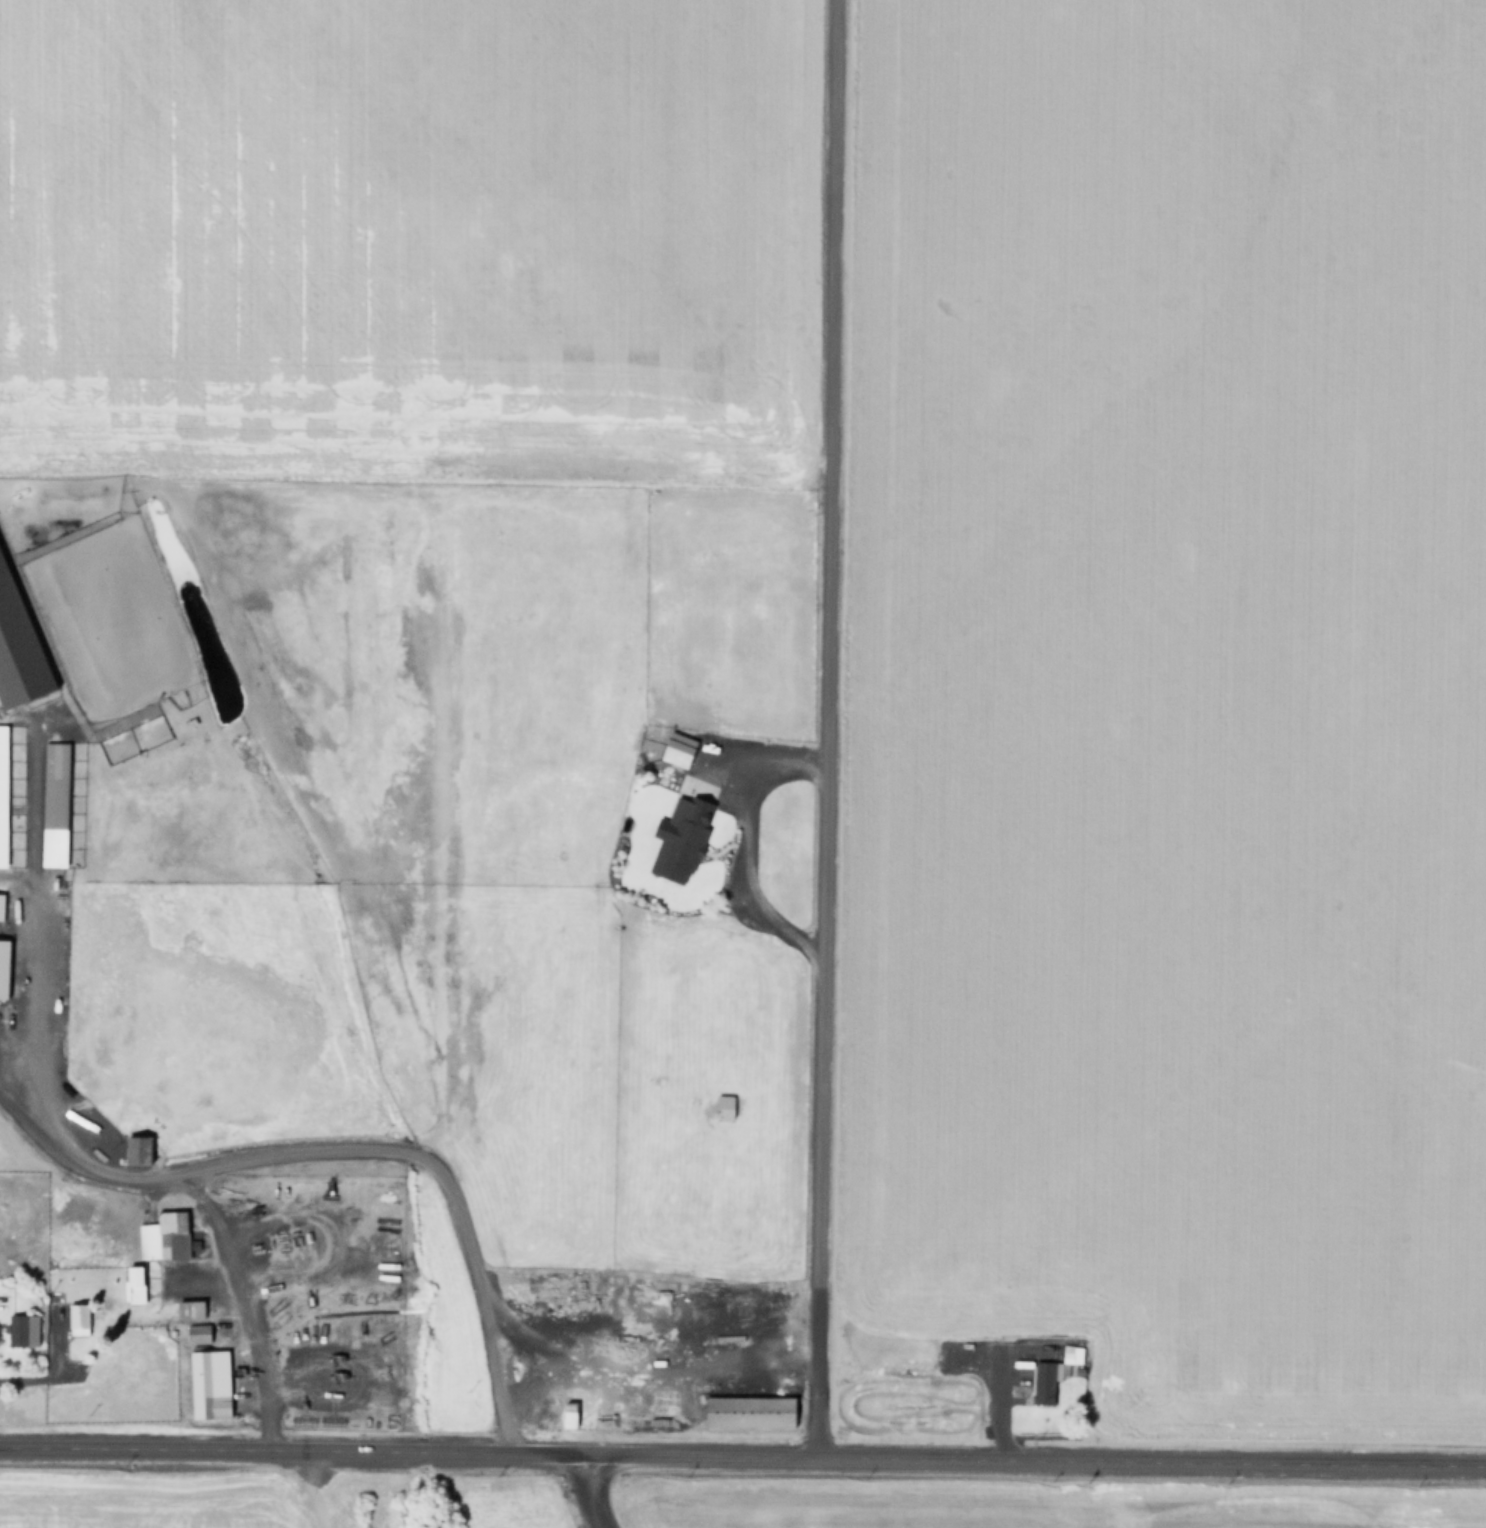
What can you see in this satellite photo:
road: (827, 731)
building: (55, 797)
building: (52, 929)
building: (77, 1072)
building: (138, 1149)
road: (352, 1152)
building: (775, 1224)
building: (7, 1226)
building: (165, 1237)
building: (134, 1285)
building: (191, 1309)
building: (23, 1330)
building: (199, 1339)
building: (1073, 1354)
building: (1042, 1357)
building: (211, 1384)
building: (750, 1411)
road: (409, 1450)
road: (1152, 1464)

